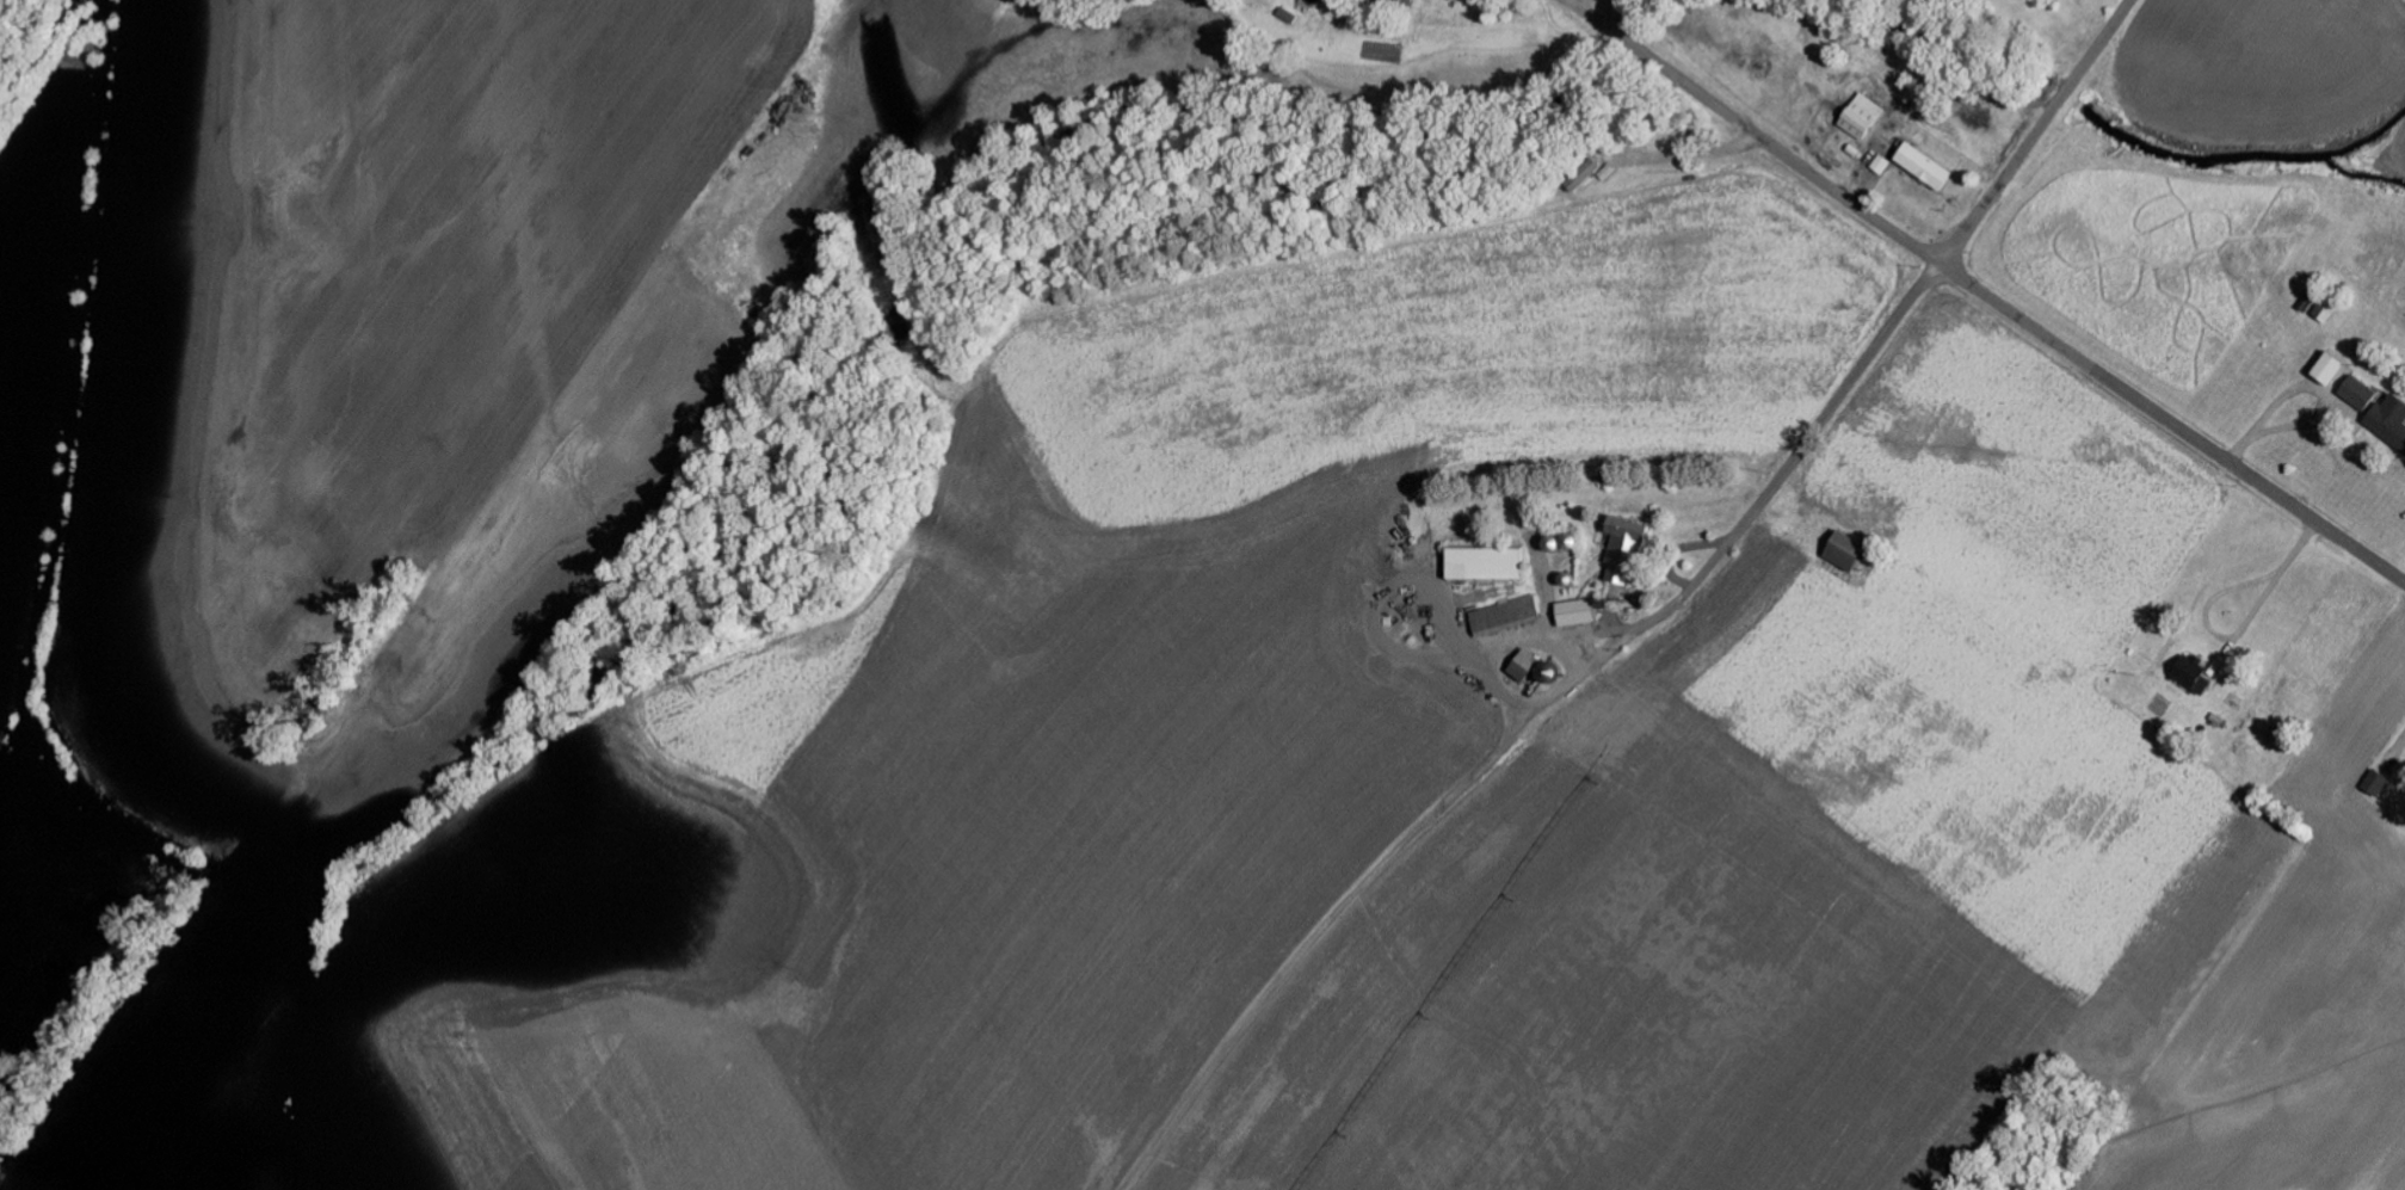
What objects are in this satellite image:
building: (1863, 116)
road: (1756, 131)
road: (2036, 131)
building: (1926, 167)
building: (1586, 175)
building: (2329, 310)
building: (2332, 370)
road: (2317, 390)
building: (2361, 394)
building: (2391, 420)
road: (2172, 421)
building: (1627, 550)
building: (1846, 553)
building: (1487, 566)
building: (1416, 611)
building: (1578, 614)
building: (1507, 616)
road: (1635, 633)
road: (1556, 636)
road: (2240, 636)
road: (1574, 653)
building: (1527, 666)
building: (2195, 674)
building: (2379, 784)

